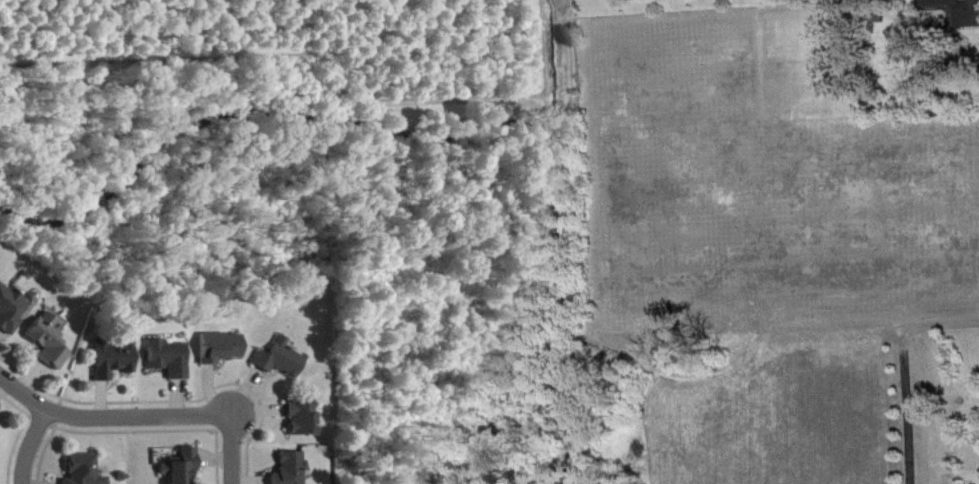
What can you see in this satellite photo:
building: (955, 15)
building: (10, 318)
road: (942, 321)
building: (50, 347)
building: (221, 356)
building: (114, 366)
building: (169, 367)
building: (281, 367)
road: (903, 403)
road: (109, 414)
building: (303, 428)
road: (30, 447)
road: (230, 451)
building: (182, 471)
building: (292, 472)
building: (83, 473)

